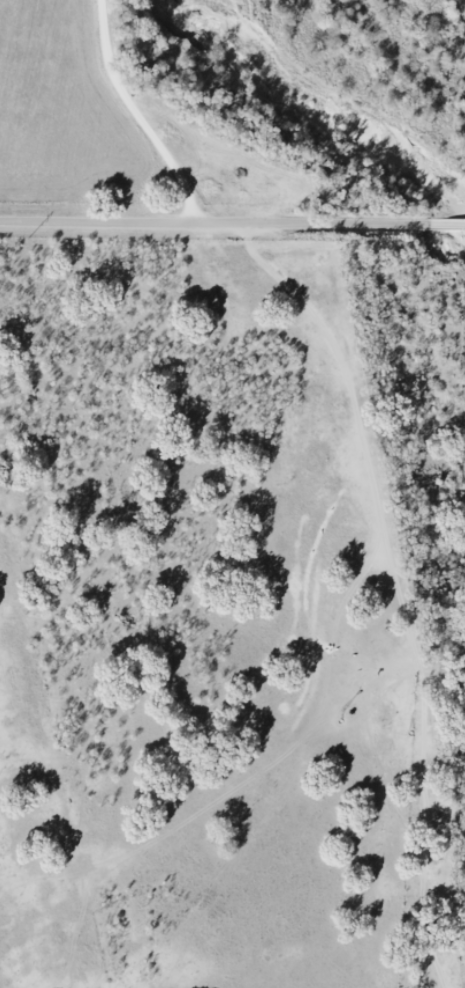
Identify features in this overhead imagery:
road: (224, 94)
road: (175, 110)
road: (232, 222)
power tower: (29, 239)
power tower: (341, 242)
road: (407, 452)

